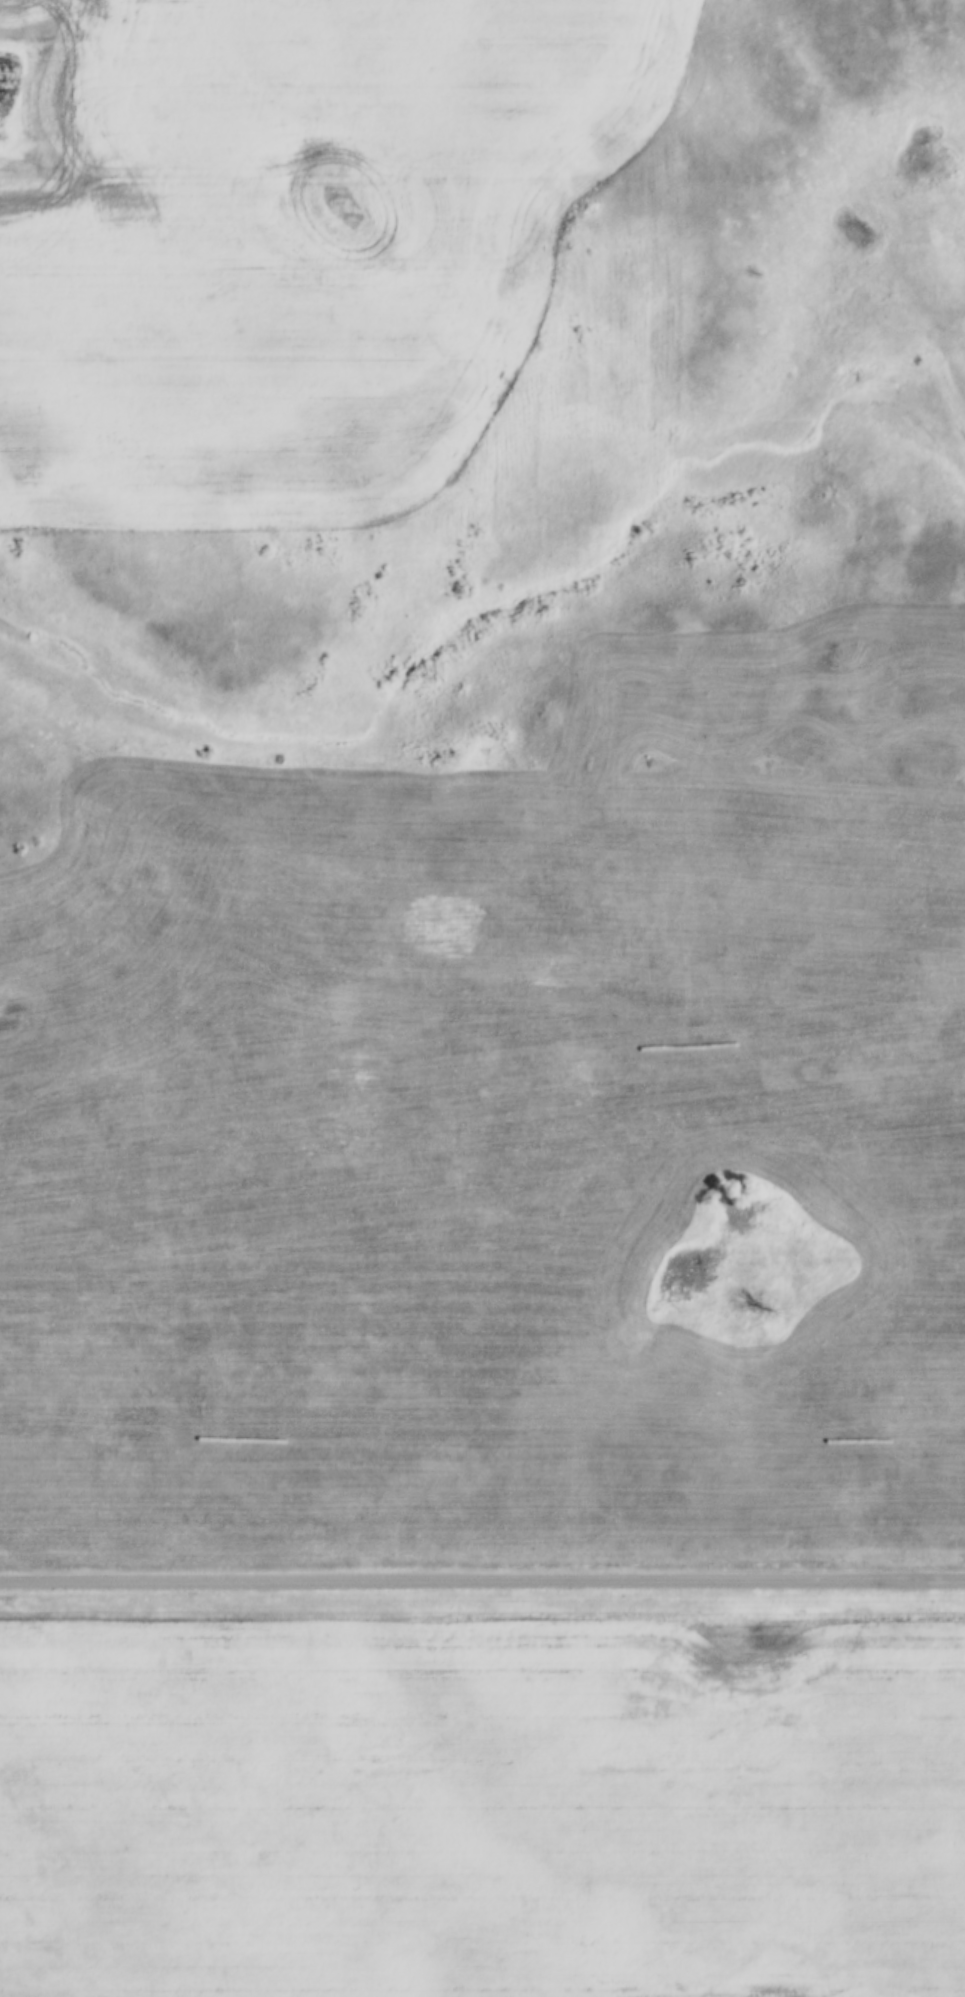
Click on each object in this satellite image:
road: (482, 1579)

